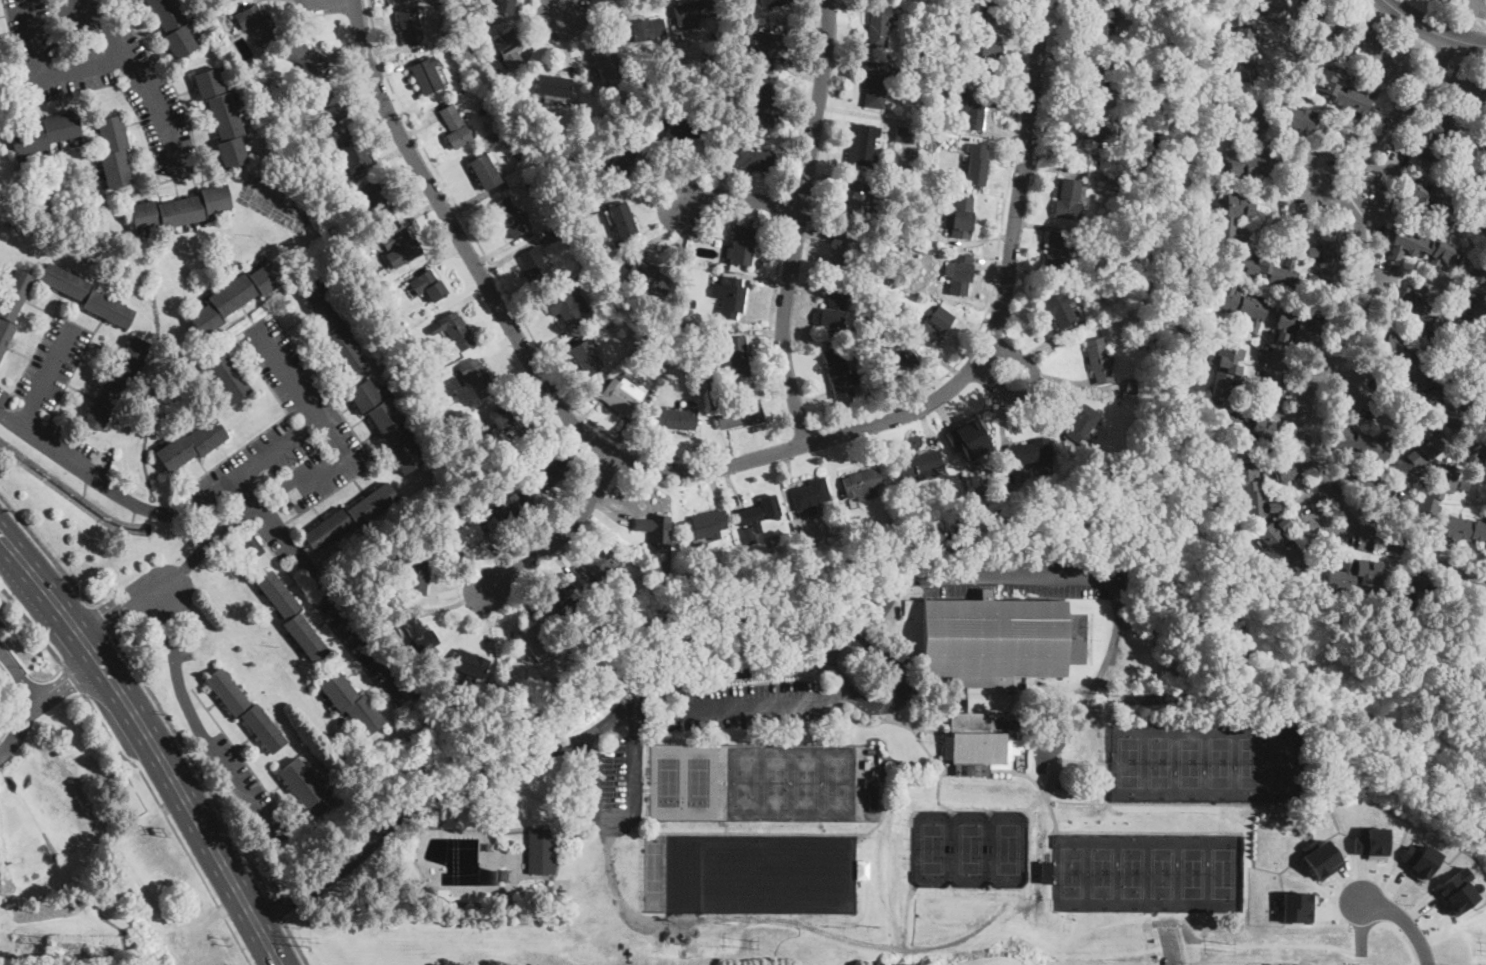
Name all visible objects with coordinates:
building: (1300, 0)
building: (772, 3)
building: (186, 4)
road: (567, 5)
building: (504, 6)
building: (213, 8)
building: (1272, 8)
building: (691, 11)
building: (989, 11)
building: (1326, 18)
building: (1097, 19)
building: (943, 20)
road: (1466, 20)
building: (191, 24)
building: (256, 24)
building: (173, 26)
building: (409, 26)
building: (878, 27)
building: (645, 30)
road: (1432, 30)
building: (201, 39)
building: (1139, 49)
building: (769, 50)
building: (510, 51)
building: (1246, 53)
building: (990, 54)
building: (921, 56)
road: (1391, 58)
building: (305, 59)
building: (606, 63)
road: (138, 72)
building: (426, 76)
road: (47, 79)
building: (1095, 80)
road: (1459, 81)
building: (877, 83)
building: (1137, 85)
building: (232, 86)
building: (554, 86)
building: (260, 91)
building: (1330, 91)
building: (241, 96)
road: (806, 96)
building: (297, 98)
building: (242, 101)
building: (330, 104)
building: (976, 105)
building: (761, 107)
building: (513, 110)
building: (1295, 115)
building: (1251, 117)
building: (223, 118)
building: (247, 118)
building: (250, 124)
building: (454, 127)
building: (676, 129)
building: (44, 133)
building: (904, 133)
building: (1099, 133)
building: (494, 136)
building: (1432, 136)
building: (248, 138)
building: (1128, 142)
building: (1485, 142)
building: (862, 144)
building: (1069, 145)
building: (114, 151)
building: (253, 153)
building: (354, 153)
building: (914, 153)
building: (623, 157)
building: (752, 159)
building: (1132, 163)
building: (976, 164)
building: (1254, 164)
building: (1092, 165)
building: (484, 171)
building: (514, 176)
building: (918, 177)
building: (531, 186)
building: (1479, 187)
building: (1118, 190)
building: (378, 196)
road: (1316, 197)
building: (1485, 198)
road: (741, 199)
building: (1068, 200)
building: (858, 201)
building: (1432, 201)
road: (789, 205)
building: (1484, 207)
building: (181, 209)
building: (510, 218)
building: (961, 218)
building: (623, 220)
building: (714, 220)
road: (798, 221)
building: (1231, 222)
building: (1481, 223)
building: (899, 228)
building: (557, 234)
building: (742, 246)
building: (400, 247)
building: (727, 248)
building: (1420, 248)
building: (1060, 249)
building: (843, 254)
building: (1326, 262)
road: (995, 265)
building: (726, 266)
building: (535, 267)
road: (494, 269)
building: (1271, 270)
building: (1400, 273)
building: (960, 275)
building: (1106, 275)
building: (648, 277)
building: (585, 278)
building: (368, 282)
building: (1066, 283)
building: (428, 285)
building: (1104, 287)
building: (1475, 294)
building: (87, 295)
building: (234, 297)
building: (732, 297)
road: (772, 297)
building: (1240, 304)
building: (12, 305)
building: (566, 306)
building: (834, 308)
building: (1059, 308)
building: (385, 314)
building: (1426, 317)
building: (1081, 323)
building: (935, 325)
building: (691, 327)
building: (333, 328)
building: (1298, 328)
building: (454, 330)
building: (640, 339)
road: (1336, 347)
building: (733, 354)
building: (586, 358)
building: (1099, 360)
parking lot: (51, 362)
building: (1403, 362)
building: (898, 364)
building: (1233, 372)
building: (840, 373)
road: (1286, 375)
building: (228, 377)
road: (1353, 377)
road: (45, 378)
building: (477, 378)
building: (117, 382)
building: (711, 383)
road: (1032, 385)
building: (1134, 386)
building: (761, 390)
parking lot: (2, 395)
building: (451, 397)
building: (622, 397)
building: (1138, 399)
building: (1447, 403)
building: (834, 409)
building: (739, 414)
building: (678, 418)
building: (502, 421)
road: (326, 422)
building: (1083, 424)
building: (388, 426)
building: (1251, 429)
parking lot: (287, 432)
building: (975, 437)
building: (1363, 442)
building: (191, 445)
road: (48, 448)
building: (1476, 449)
parking lot: (71, 451)
building: (1032, 453)
building: (1417, 459)
road: (264, 460)
building: (1095, 463)
road: (726, 465)
building: (918, 465)
building: (1286, 469)
building: (552, 470)
building: (497, 472)
building: (862, 484)
building: (1249, 490)
building: (1439, 492)
building: (811, 495)
building: (961, 497)
building: (509, 506)
road: (149, 508)
building: (759, 513)
building: (349, 517)
building: (705, 526)
building: (655, 528)
building: (1463, 529)
road: (562, 534)
building: (462, 535)
building: (803, 542)
building: (1285, 544)
building: (255, 548)
road: (45, 550)
building: (644, 556)
building: (601, 563)
parking lot: (1019, 575)
building: (1369, 575)
road: (170, 576)
building: (1342, 577)
building: (415, 578)
road: (1018, 578)
road: (323, 586)
building: (1409, 592)
building: (563, 600)
parking lot: (338, 611)
building: (292, 616)
road: (101, 620)
parking lot: (0, 623)
road: (31, 624)
building: (1158, 633)
building: (418, 634)
building: (537, 640)
road: (176, 662)
building: (469, 663)
building: (989, 664)
road: (19, 675)
road: (71, 677)
building: (497, 696)
road: (39, 699)
road: (897, 701)
building: (352, 703)
parking lot: (743, 705)
road: (744, 706)
building: (245, 710)
road: (586, 734)
road: (149, 747)
park: (1203, 760)
road: (193, 764)
building: (755, 783)
building: (867, 783)
road: (241, 785)
parking lot: (245, 786)
parking lot: (613, 786)
building: (305, 788)
park: (116, 799)
building: (873, 800)
building: (435, 822)
road: (170, 823)
road: (629, 825)
building: (1371, 843)
building: (489, 846)
park: (970, 847)
park: (932, 848)
park: (1007, 848)
building: (541, 852)
building: (1320, 857)
building: (1419, 859)
building: (1039, 871)
building: (1045, 871)
park: (1146, 871)
park: (745, 872)
building: (508, 875)
parking lot: (0, 890)
building: (430, 890)
building: (1456, 891)
building: (451, 904)
building: (1297, 906)
road: (275, 909)
road: (1406, 922)
road: (1401, 935)
power tower: (305, 938)
power tower: (752, 942)
road: (295, 943)
power tower: (1229, 946)
road: (1189, 964)

